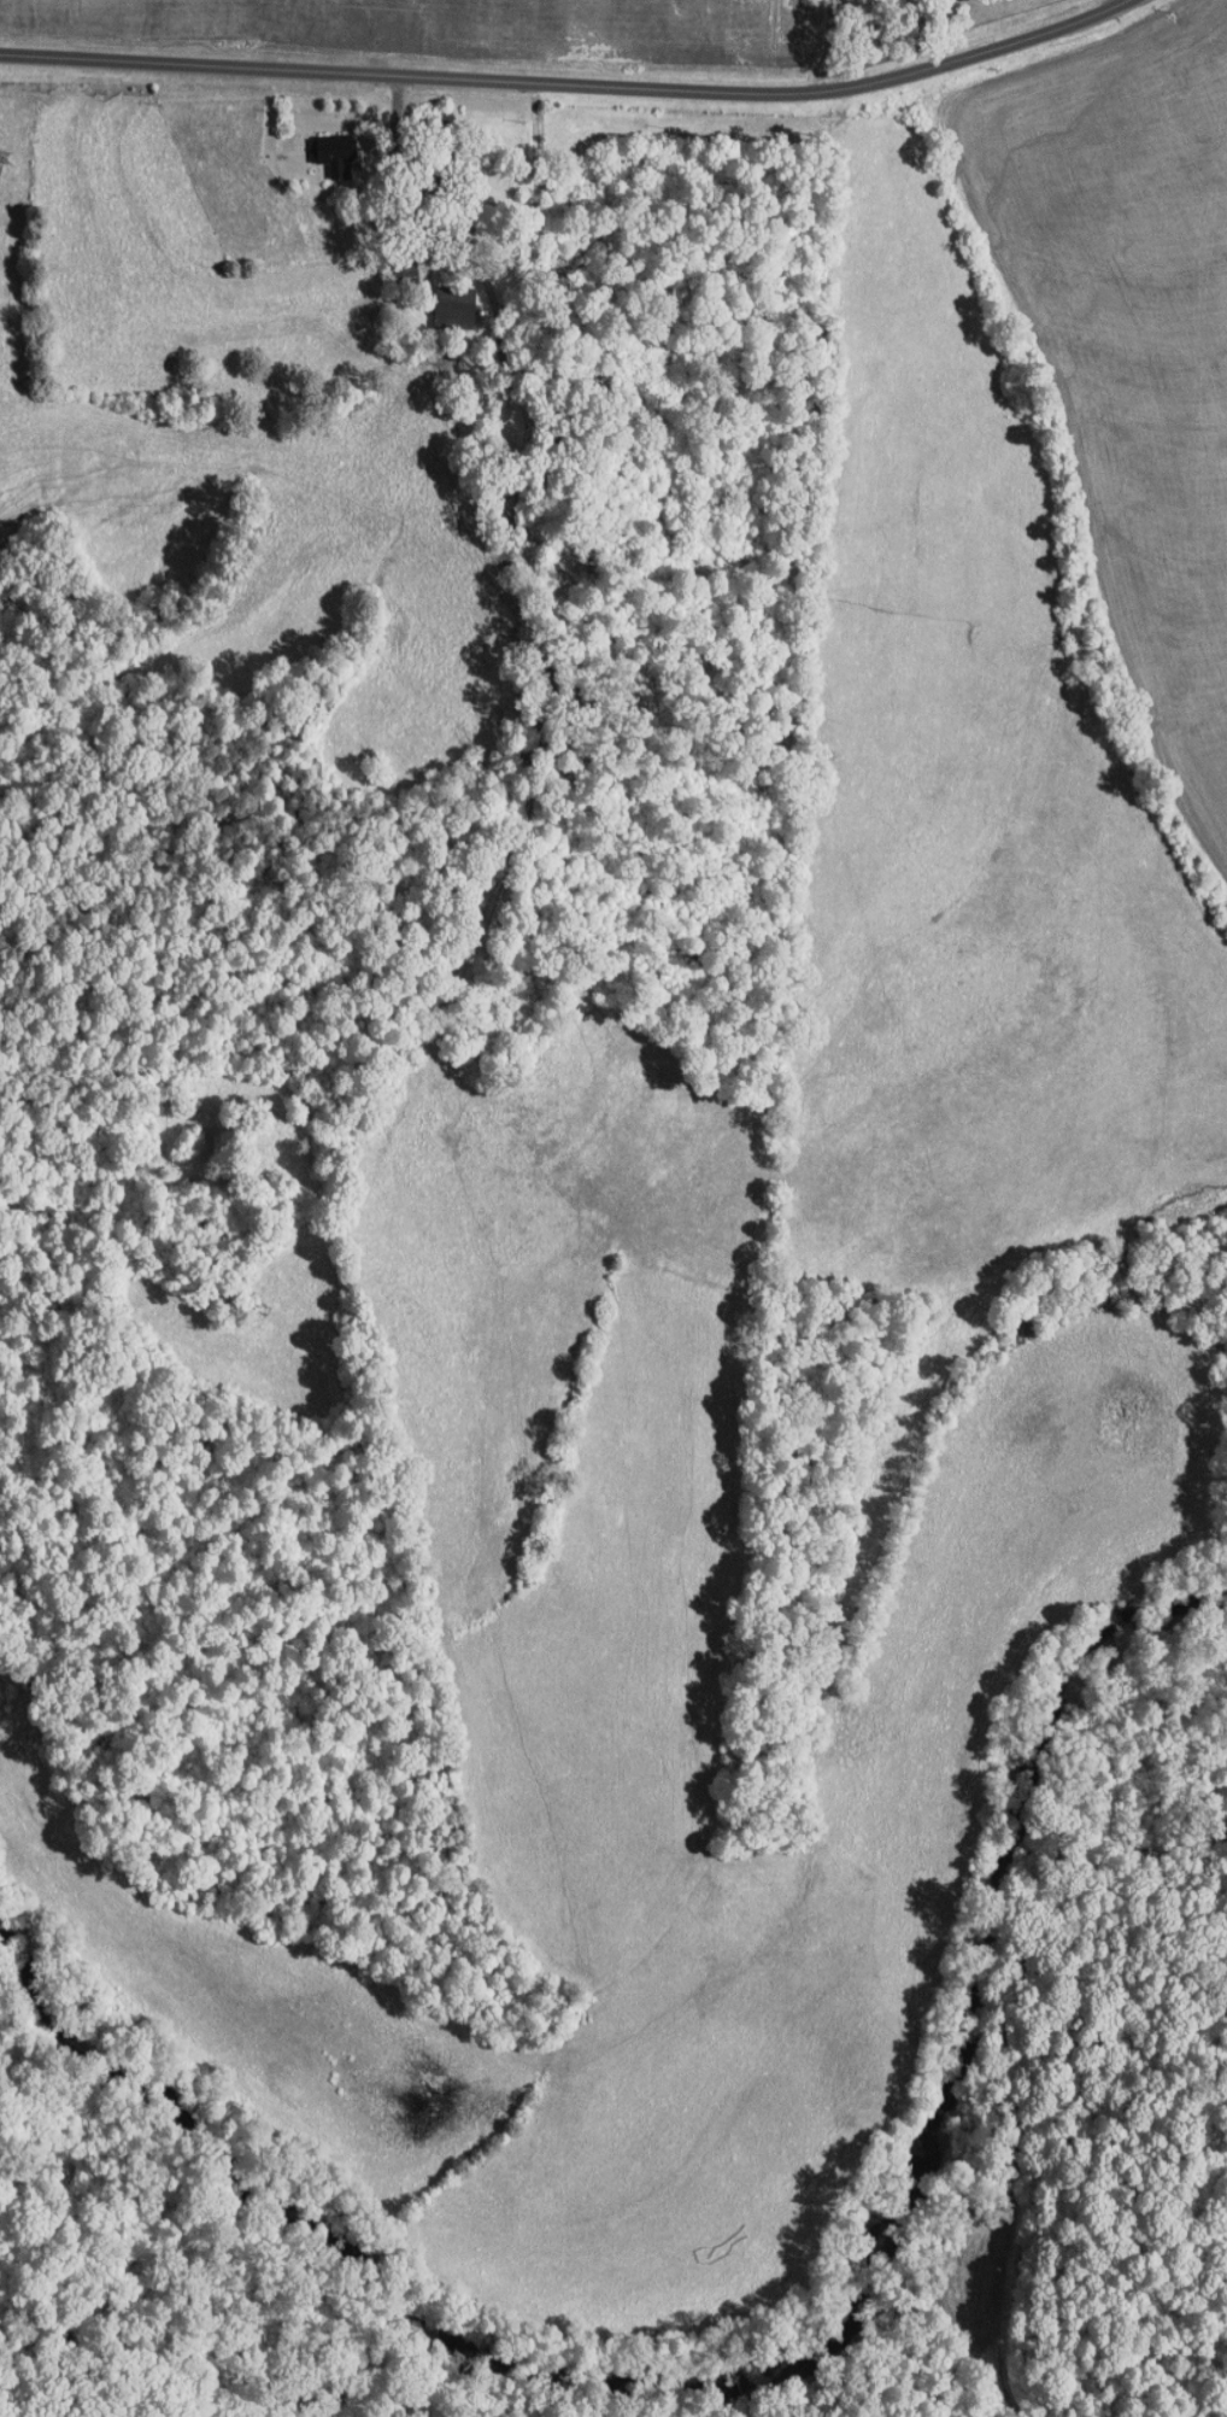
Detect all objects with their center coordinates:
road: (1119, 1)
road: (570, 81)
building: (331, 152)
building: (453, 305)

